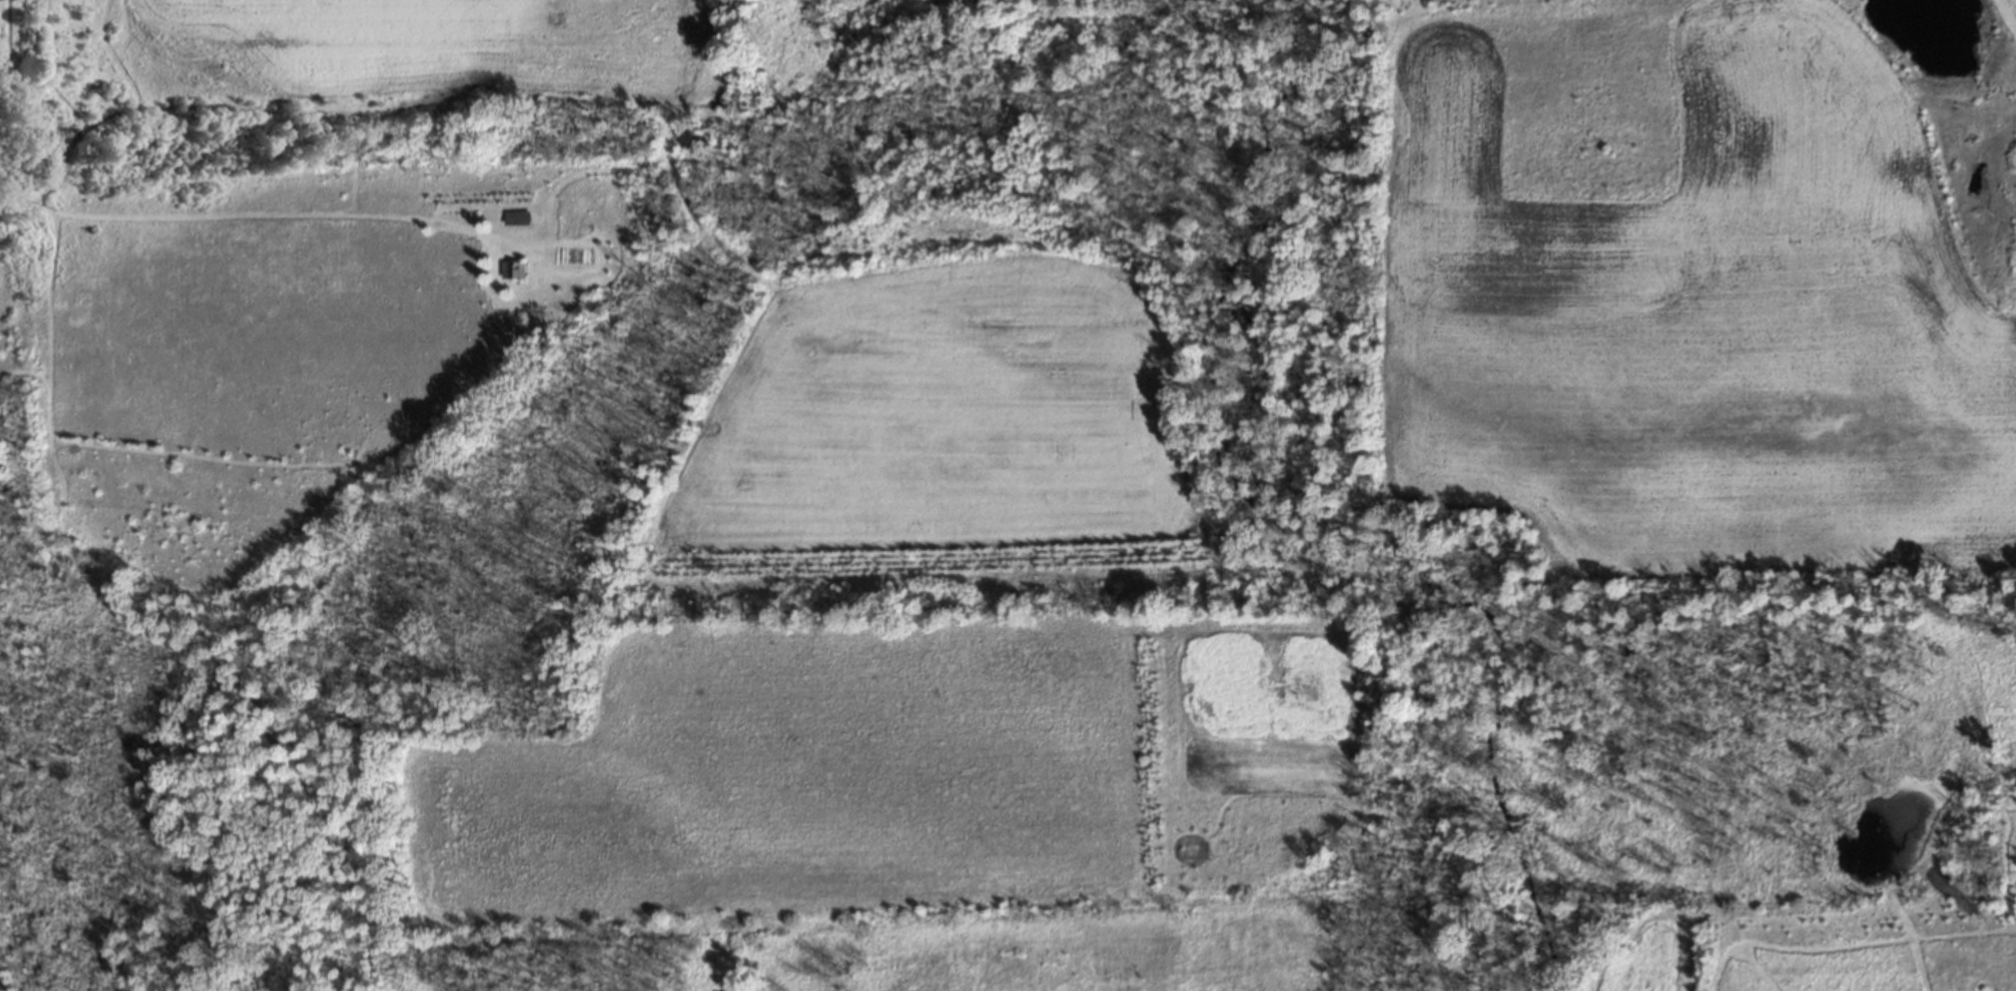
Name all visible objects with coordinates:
building: (513, 218)
building: (510, 271)

